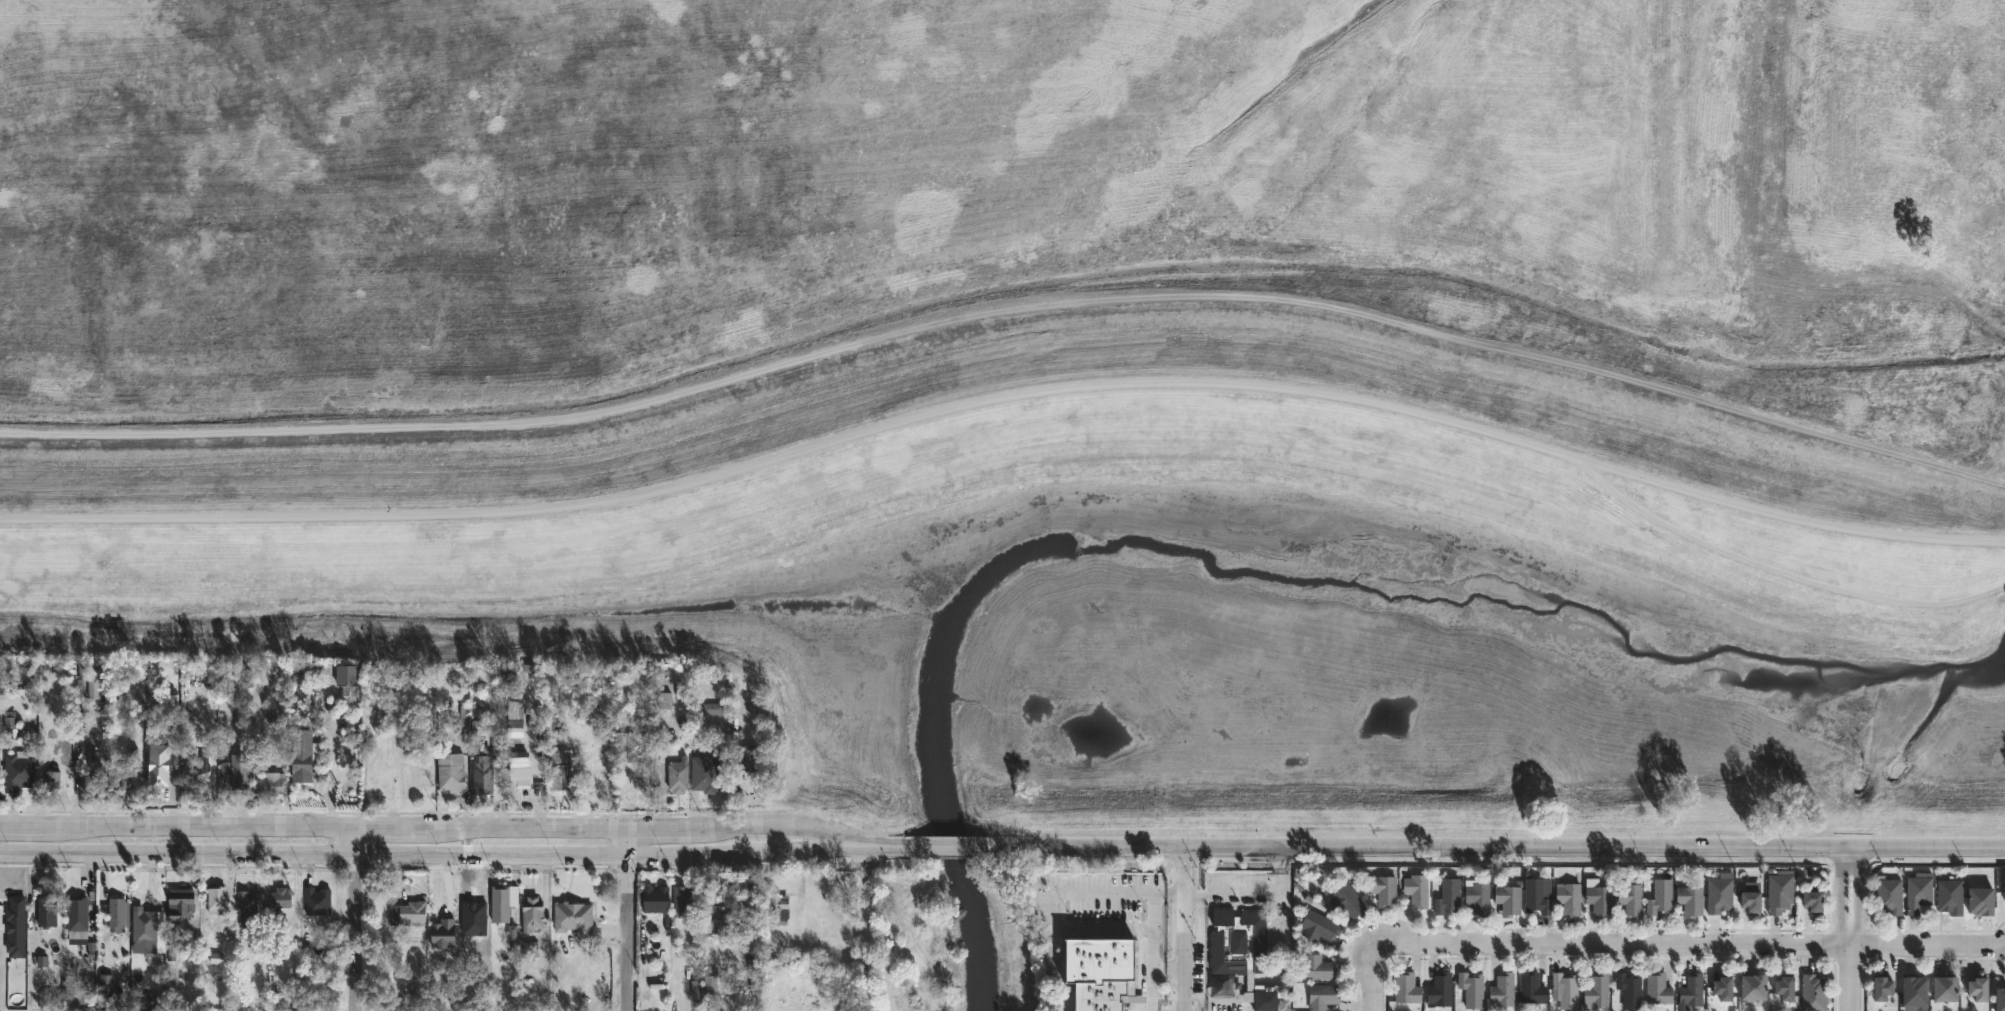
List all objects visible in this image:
road: (1008, 307)
park: (1054, 381)
road: (1005, 395)
road: (1768, 568)
building: (36, 676)
building: (347, 684)
building: (95, 688)
building: (665, 702)
building: (168, 704)
building: (713, 710)
building: (516, 719)
building: (11, 724)
building: (557, 726)
building: (625, 745)
building: (300, 756)
building: (748, 757)
building: (480, 762)
building: (1899, 768)
building: (159, 771)
building: (237, 771)
building: (449, 771)
building: (565, 771)
building: (19, 772)
building: (704, 773)
building: (518, 776)
building: (676, 776)
building: (196, 777)
building: (53, 778)
building: (122, 781)
building: (91, 783)
building: (272, 784)
road: (426, 828)
road: (880, 844)
road: (950, 845)
road: (1089, 846)
road: (1595, 848)
road: (425, 853)
building: (1416, 888)
building: (1384, 889)
building: (1780, 890)
building: (1919, 891)
building: (1719, 893)
building: (1889, 894)
building: (1447, 895)
building: (1949, 895)
building: (279, 896)
road: (1260, 896)
building: (1536, 896)
building: (1659, 896)
building: (1568, 897)
building: (1688, 897)
building: (653, 898)
parking lot: (1098, 898)
building: (1478, 898)
building: (1508, 898)
building: (1630, 898)
building: (1811, 898)
building: (684, 899)
building: (1599, 899)
building: (218, 900)
building: (315, 900)
building: (1347, 900)
building: (1979, 900)
building: (1752, 901)
building: (180, 902)
building: (502, 903)
building: (244, 907)
building: (780, 908)
building: (747, 910)
building: (48, 911)
building: (118, 913)
building: (408, 913)
building: (530, 913)
building: (713, 913)
building: (572, 917)
building: (471, 918)
road: (357, 919)
road: (628, 919)
road: (1153, 919)
building: (78, 920)
building: (1318, 925)
building: (142, 926)
building: (14, 928)
road: (1186, 929)
road: (1849, 929)
building: (443, 931)
building: (1237, 942)
road: (1687, 947)
building: (1316, 967)
building: (194, 972)
building: (1101, 973)
road: (1152, 975)
road: (1371, 977)
building: (711, 984)
building: (107, 985)
building: (1723, 986)
building: (1754, 986)
building: (1785, 987)
building: (1406, 988)
building: (1531, 988)
building: (1882, 988)
building: (1945, 988)
building: (1979, 988)
building: (1440, 989)
building: (1471, 989)
building: (1503, 989)
building: (1566, 989)
building: (1629, 989)
building: (1657, 989)
building: (1597, 990)
building: (1915, 990)
building: (1691, 991)
building: (1813, 992)
building: (417, 995)
building: (1321, 995)
building: (1264, 996)
building: (2000, 999)

